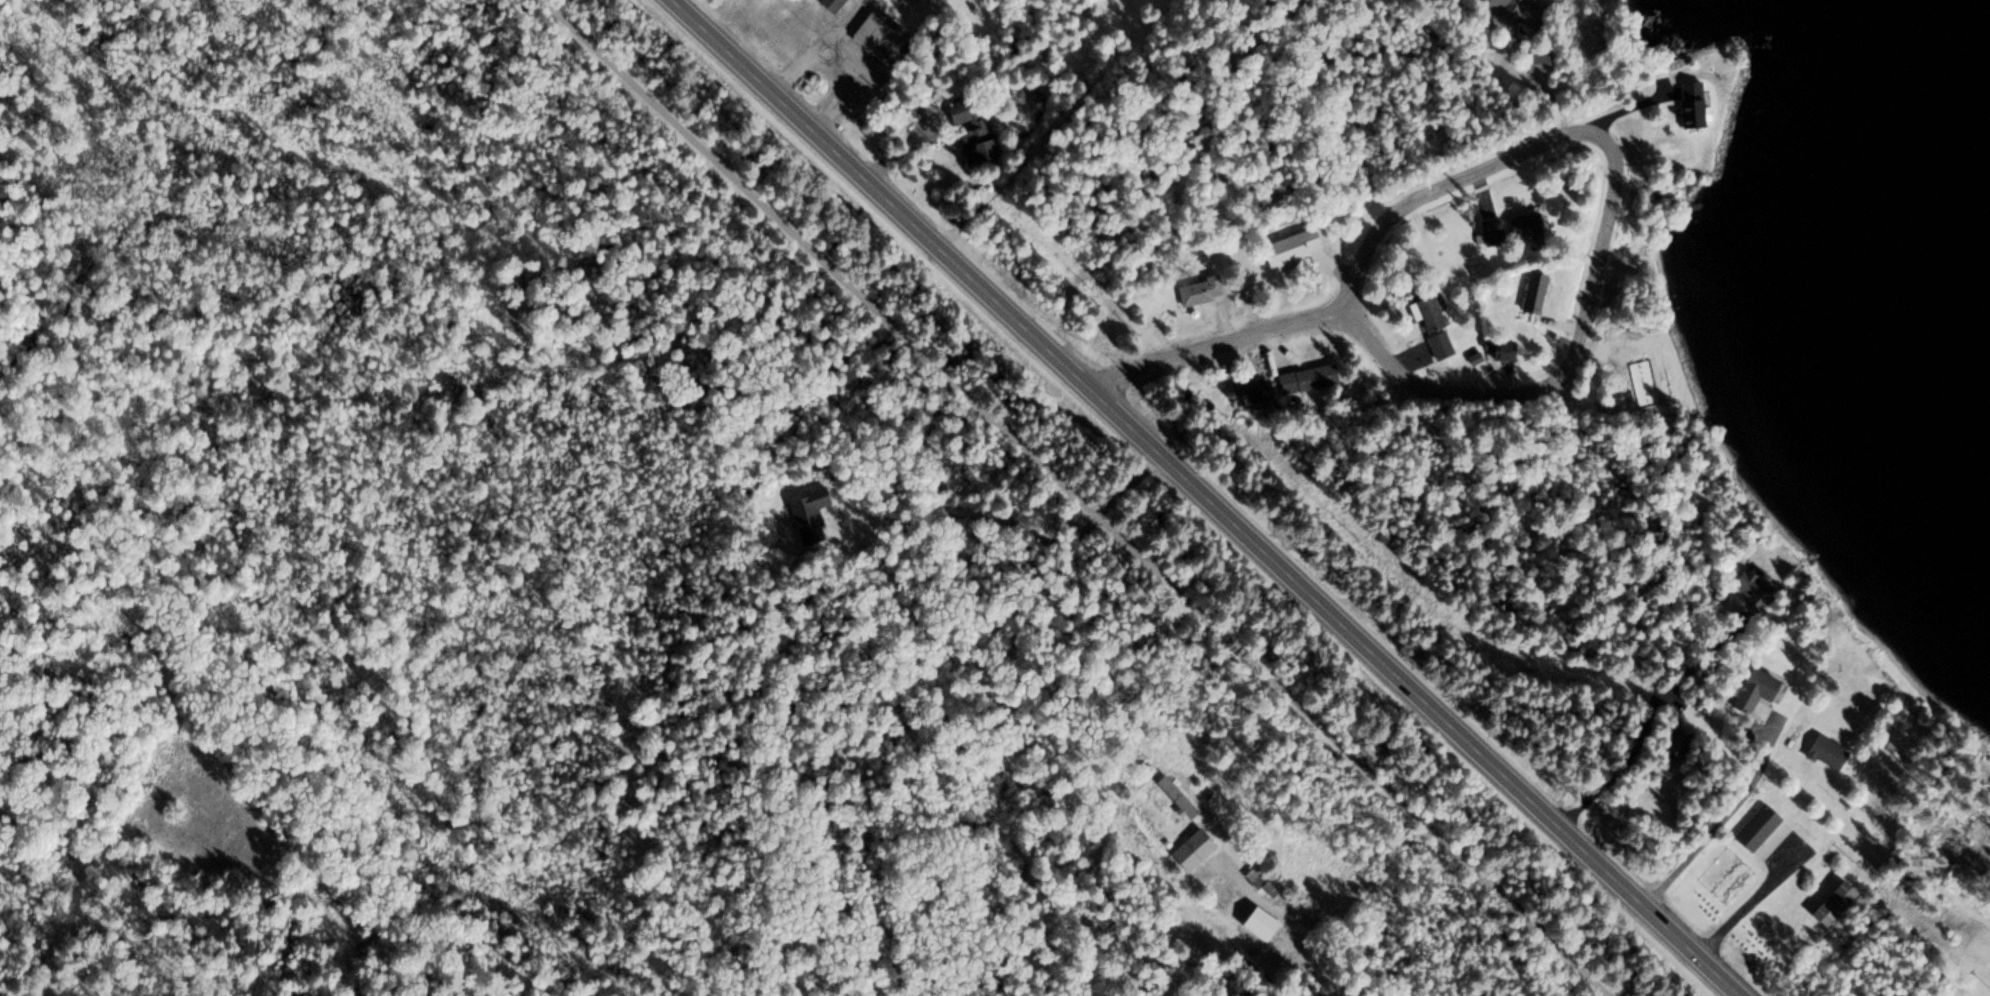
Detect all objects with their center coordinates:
building: (919, 0)
building: (827, 4)
building: (1511, 11)
building: (878, 37)
building: (1688, 102)
building: (970, 127)
building: (1520, 225)
building: (1289, 244)
road: (1595, 265)
building: (1196, 287)
building: (1532, 288)
building: (1429, 312)
building: (1437, 344)
road: (1216, 346)
building: (1500, 347)
building: (1304, 377)
building: (1248, 390)
road: (1205, 496)
road: (1070, 498)
building: (807, 514)
building: (1753, 586)
building: (1756, 686)
building: (1674, 742)
building: (1822, 750)
building: (1173, 797)
road: (1725, 820)
building: (1754, 826)
building: (1189, 849)
building: (1257, 882)
road: (1753, 900)
building: (1827, 903)
building: (1259, 923)
road: (1322, 966)

